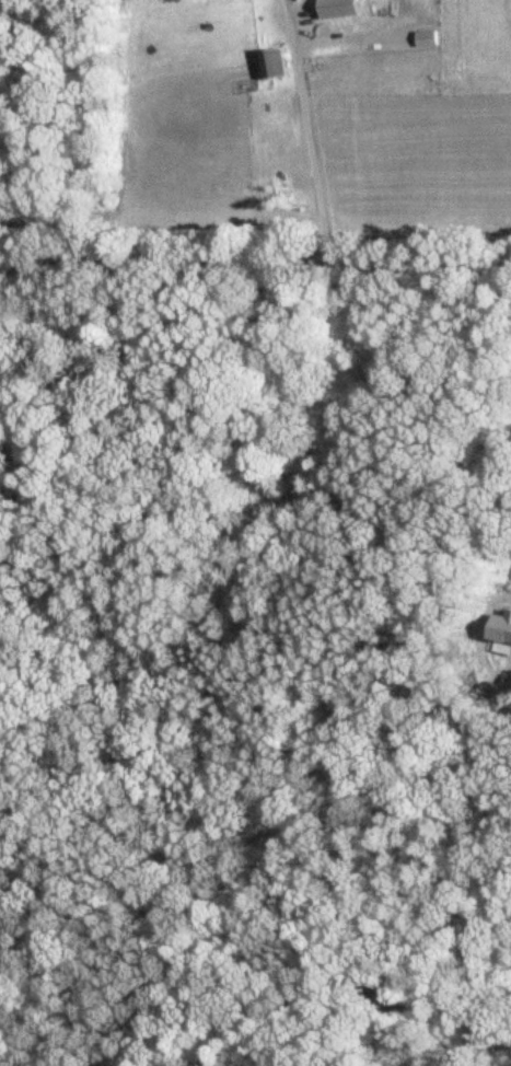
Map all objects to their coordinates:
building: (268, 63)
road: (313, 131)
road: (255, 263)

